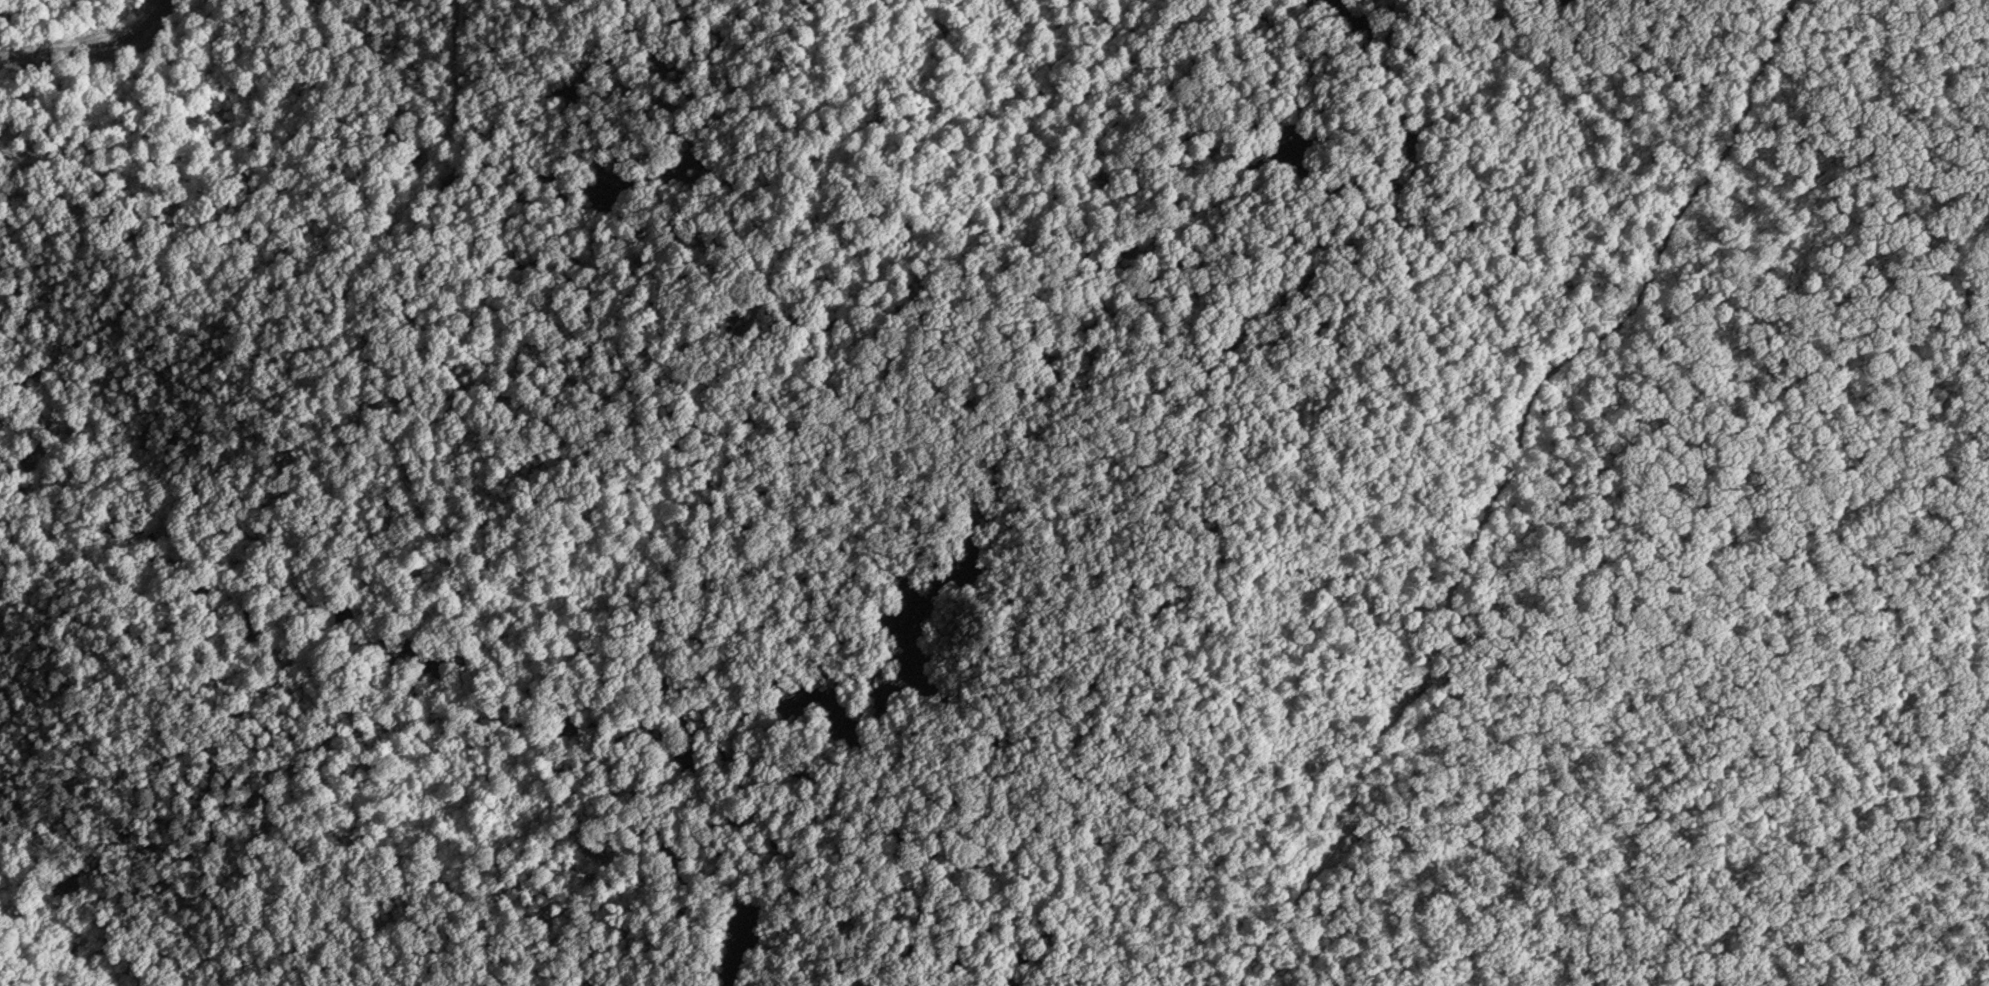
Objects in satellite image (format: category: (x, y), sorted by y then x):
road: (1498, 477)
road: (1725, 616)

